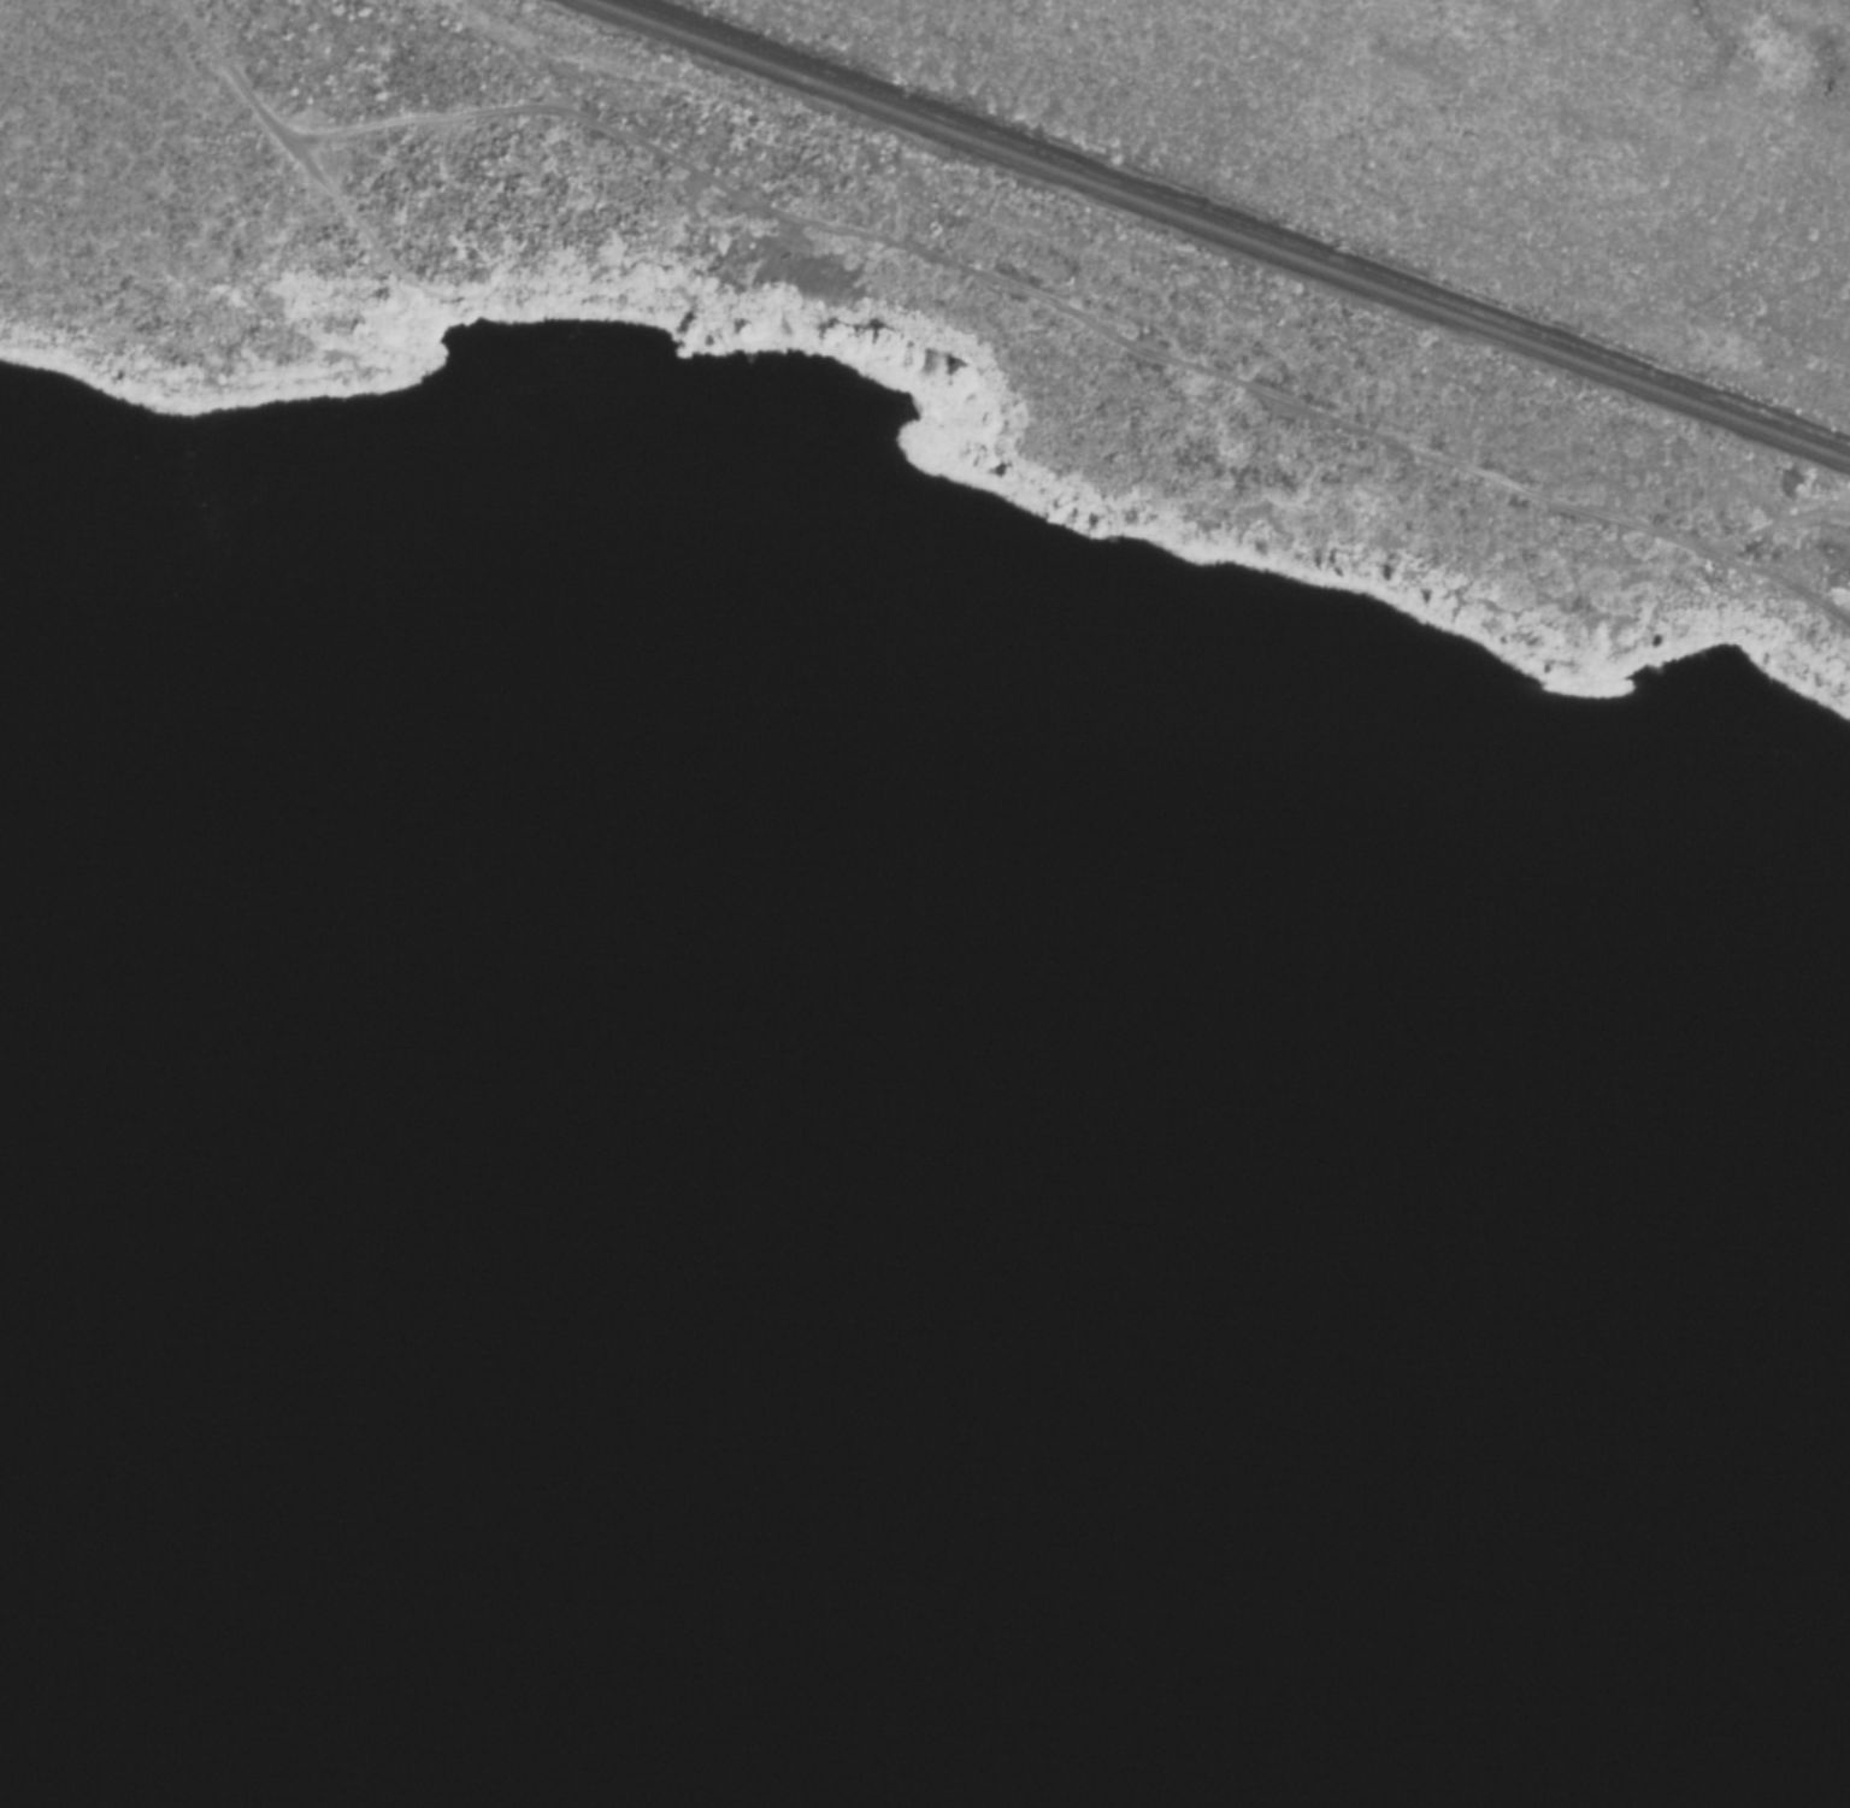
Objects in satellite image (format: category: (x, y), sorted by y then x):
railway: (1215, 230)
road: (995, 279)

